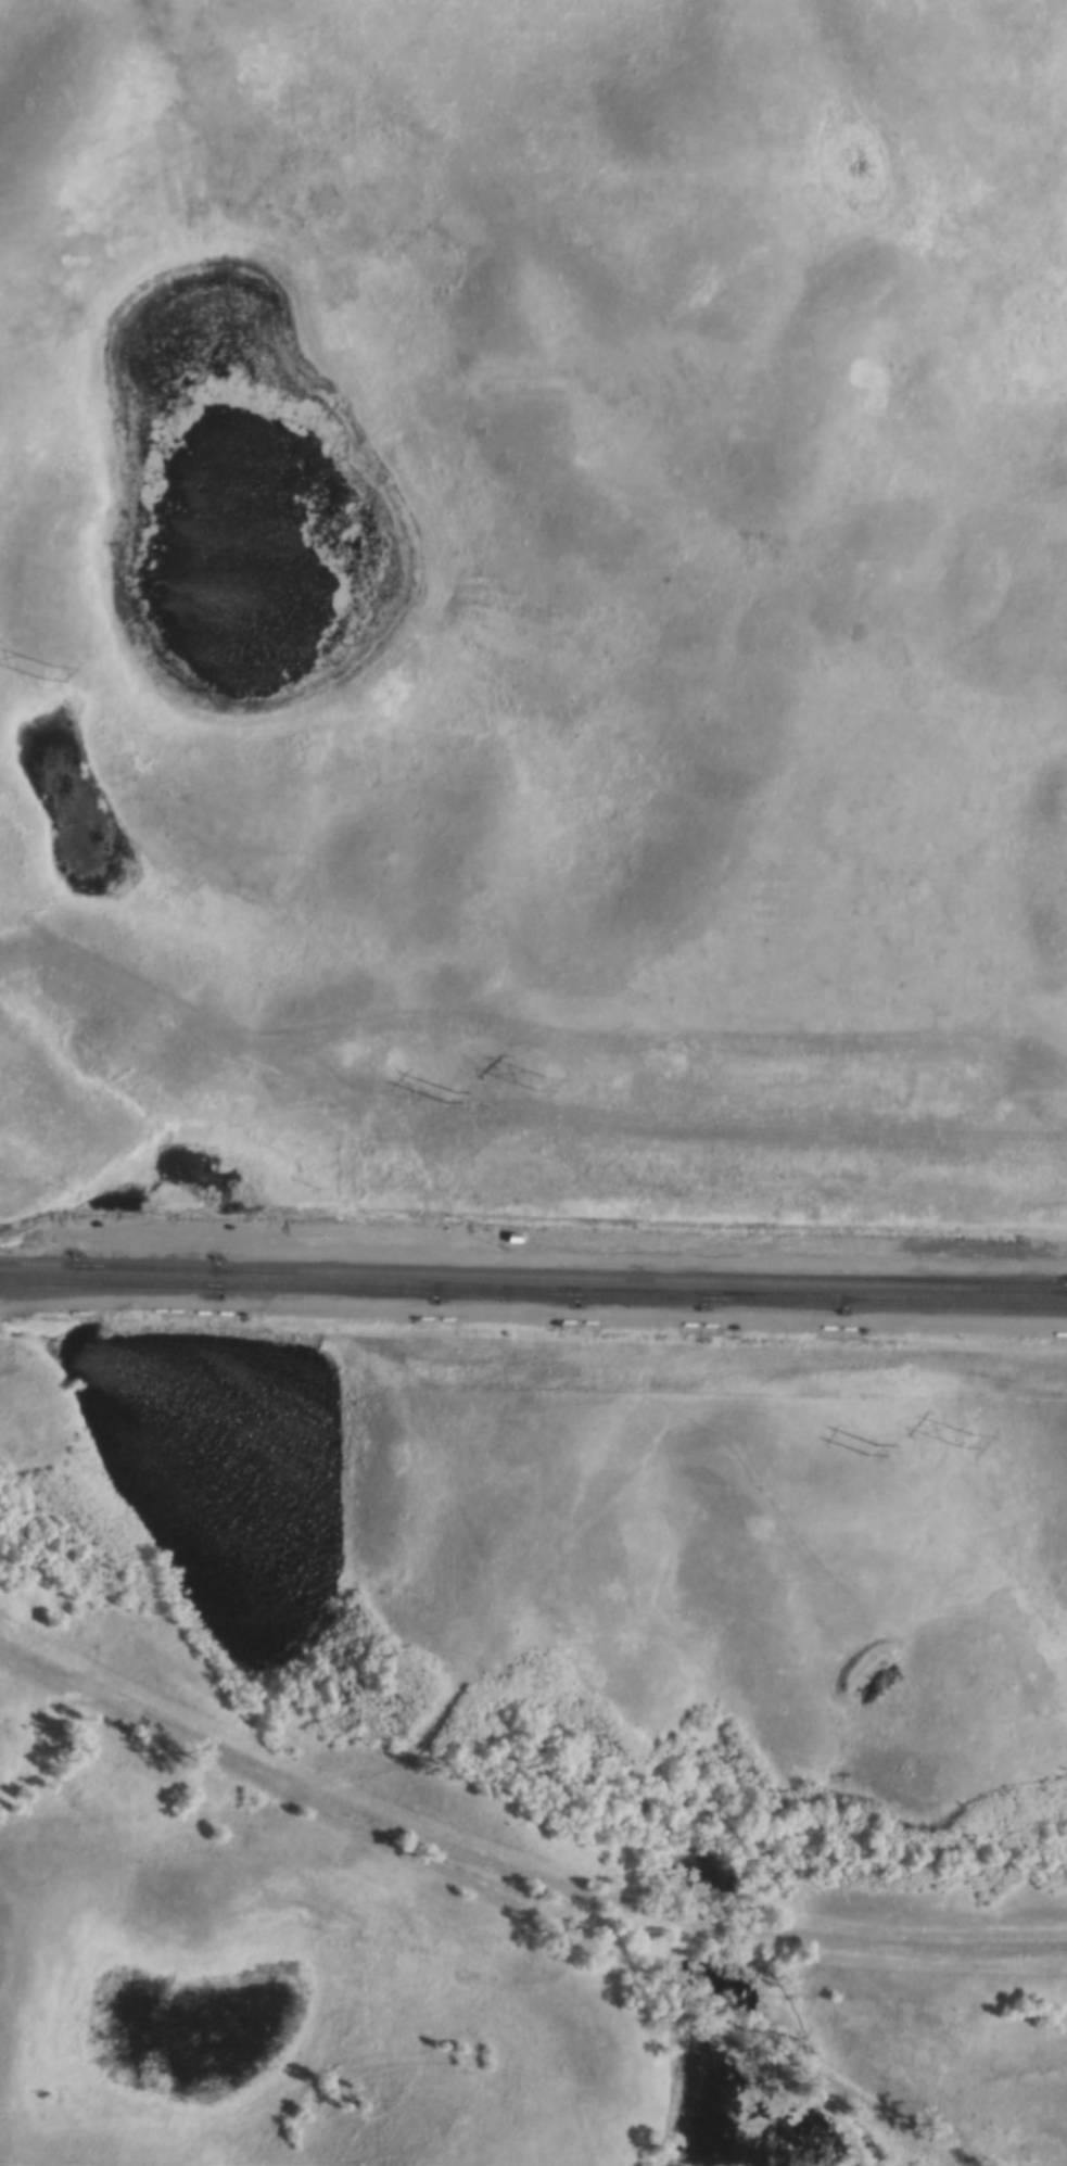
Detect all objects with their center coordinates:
power tower: (46, 673)
power tower: (538, 1080)
railway: (35, 1266)
railway: (569, 1272)
railway: (323, 1281)
railway: (107, 1287)
railway: (288, 1289)
railway: (882, 1293)
railway: (638, 1296)
railway: (882, 1303)
road: (533, 1313)
power tower: (961, 1440)
road: (491, 1897)

